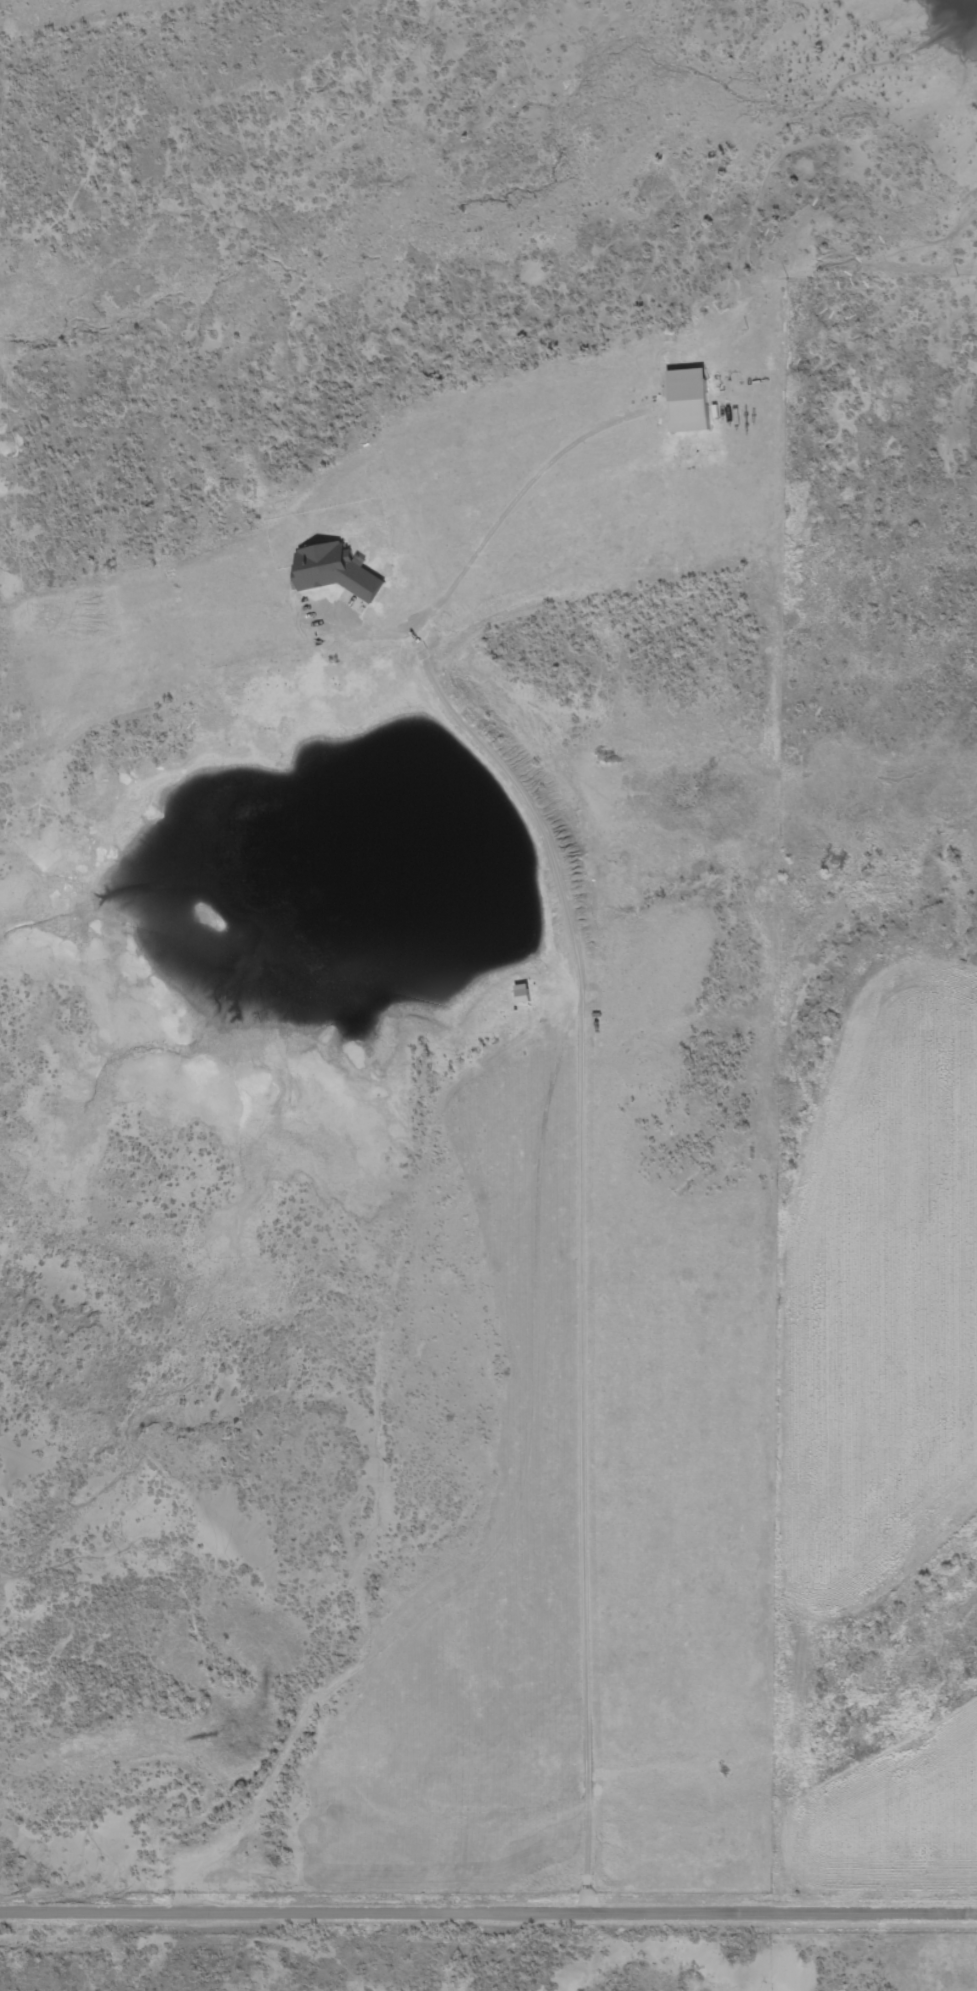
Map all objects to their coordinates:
road: (488, 1913)

